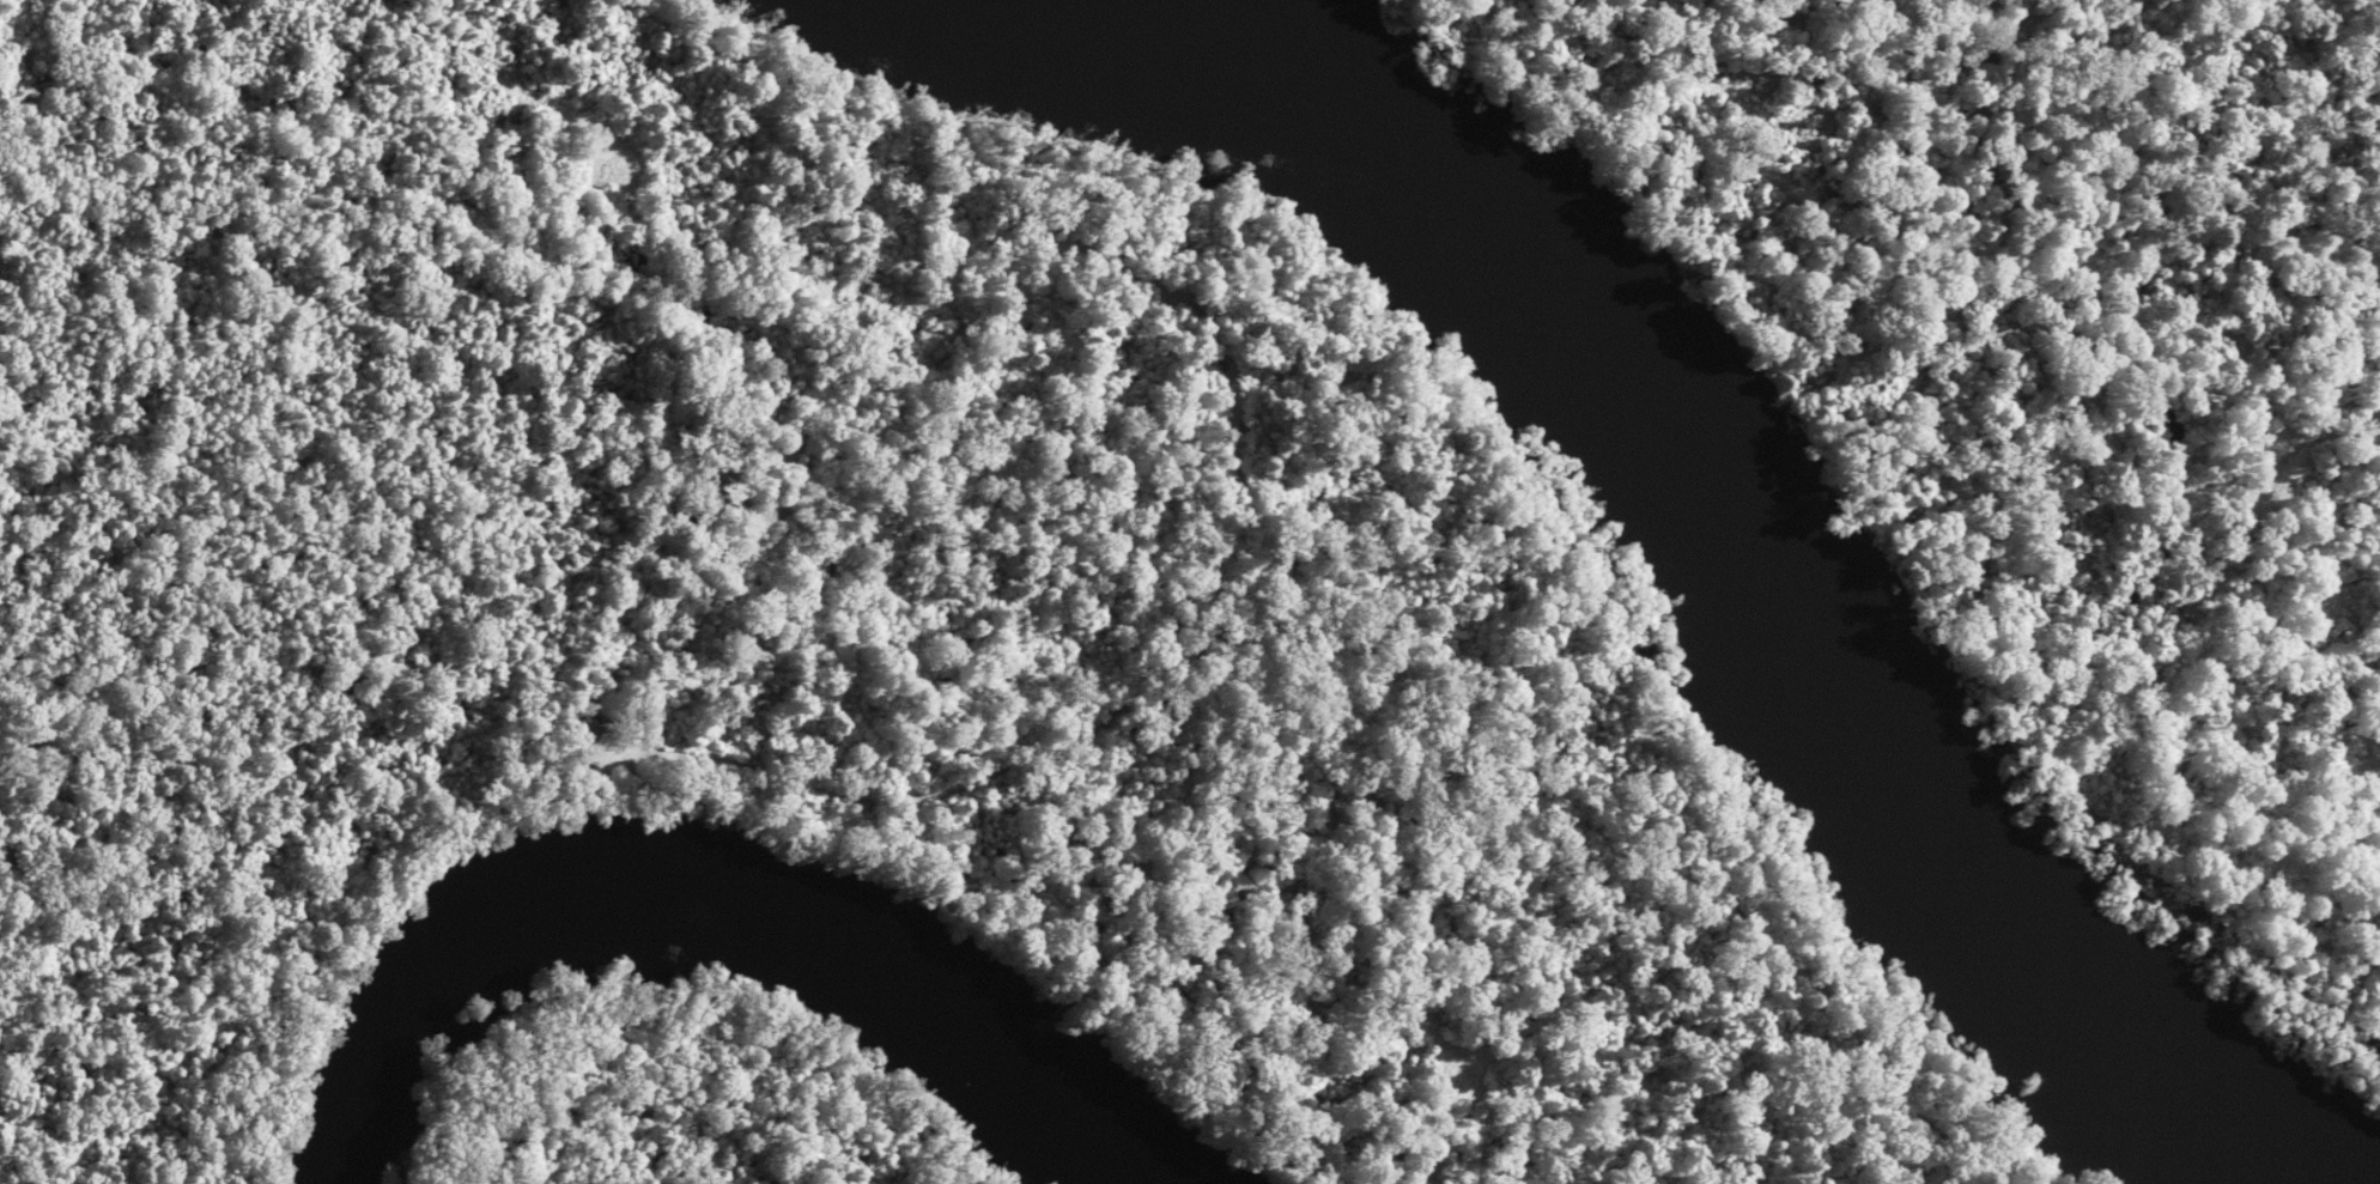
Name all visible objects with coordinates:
river: (1694, 472)

